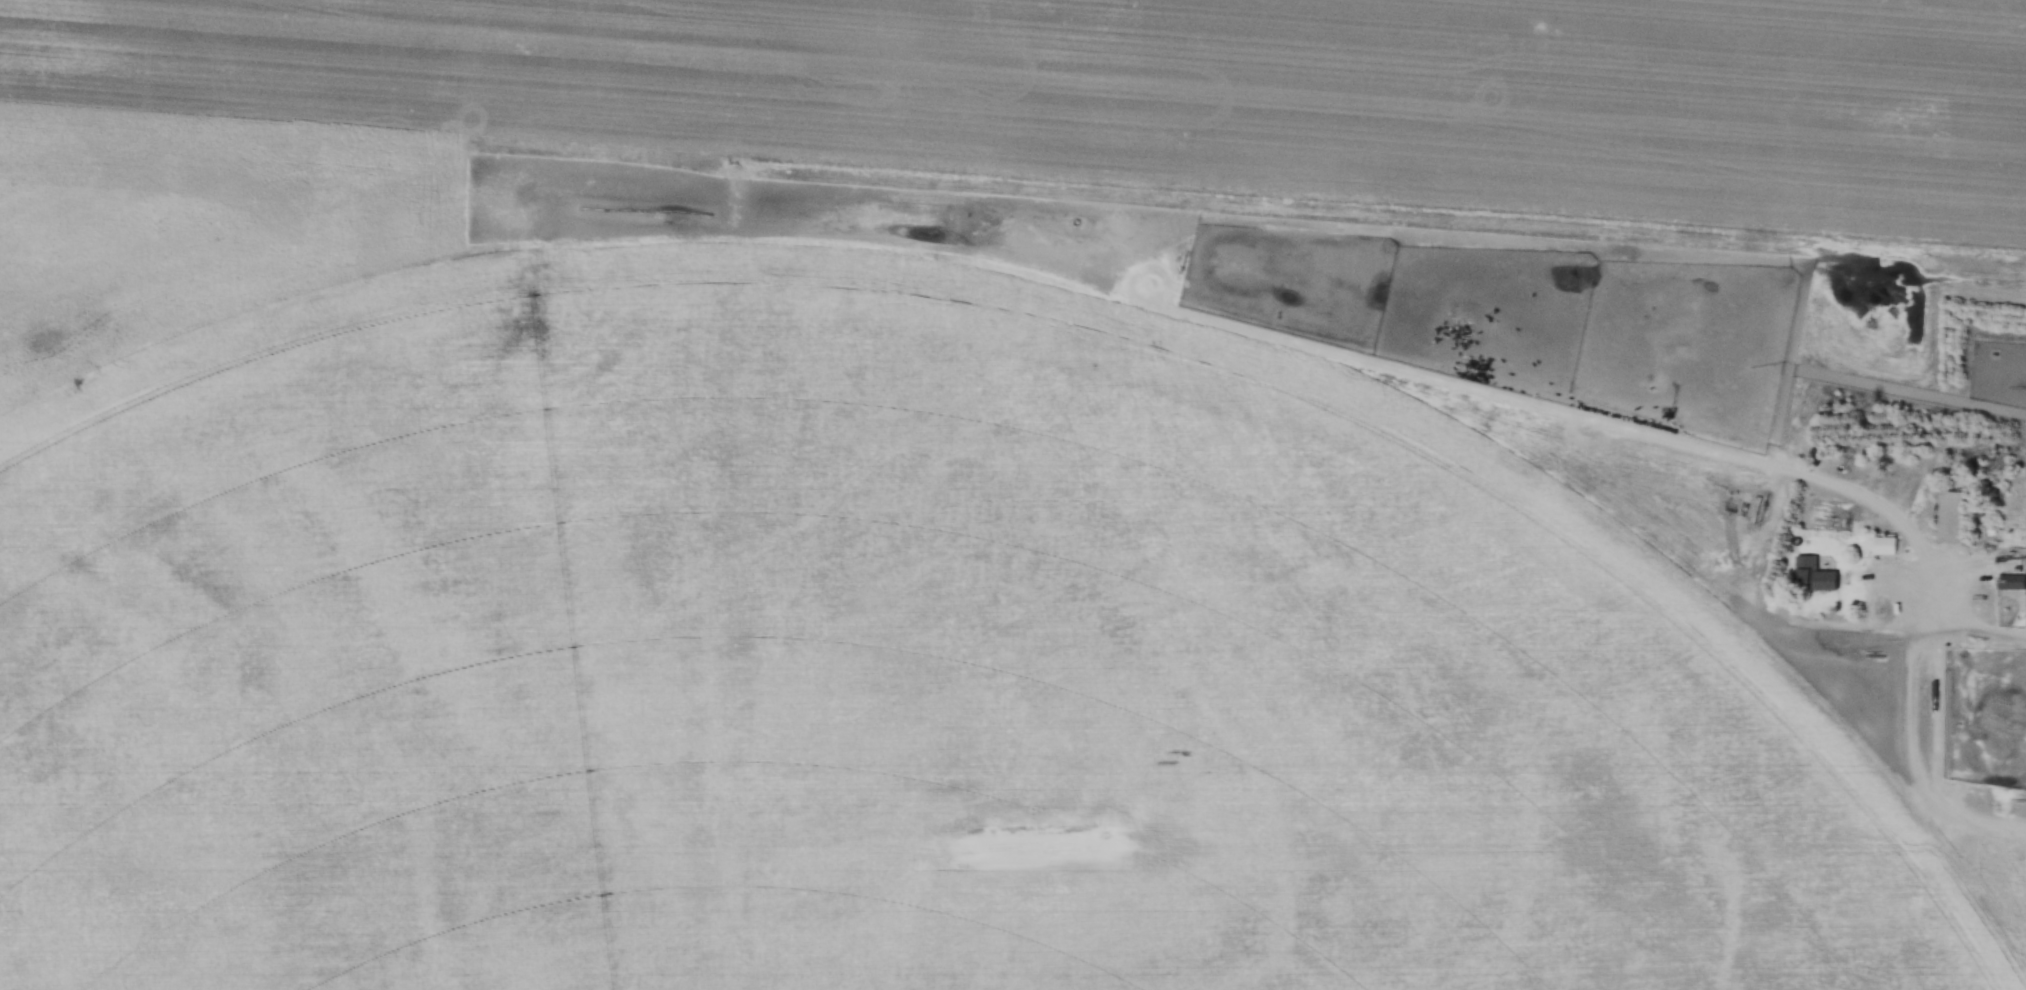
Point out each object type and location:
building: (1952, 517)
building: (1886, 545)
building: (1814, 574)
building: (2011, 581)
road: (1909, 740)

